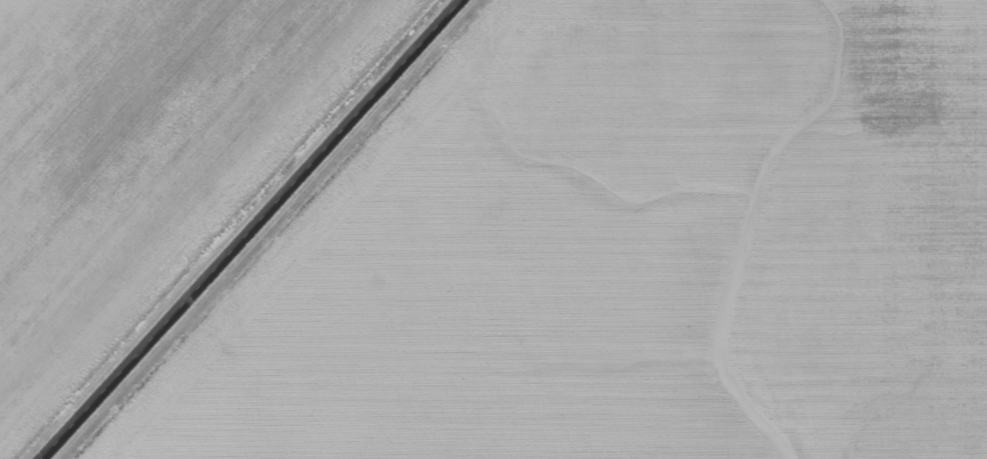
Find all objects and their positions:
railway: (208, 228)
road: (255, 228)

